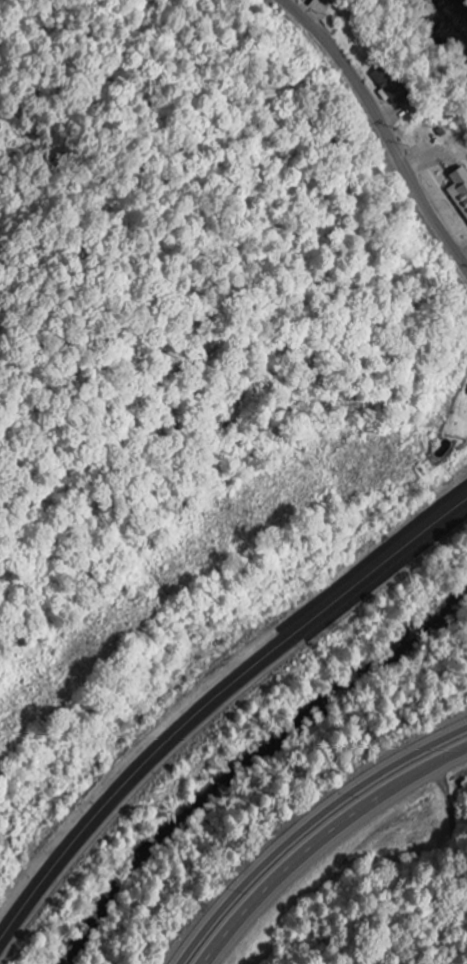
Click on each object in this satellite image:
building: (316, 0)
river: (463, 3)
building: (388, 87)
road: (384, 125)
building: (458, 191)
road: (213, 704)
road: (313, 832)

